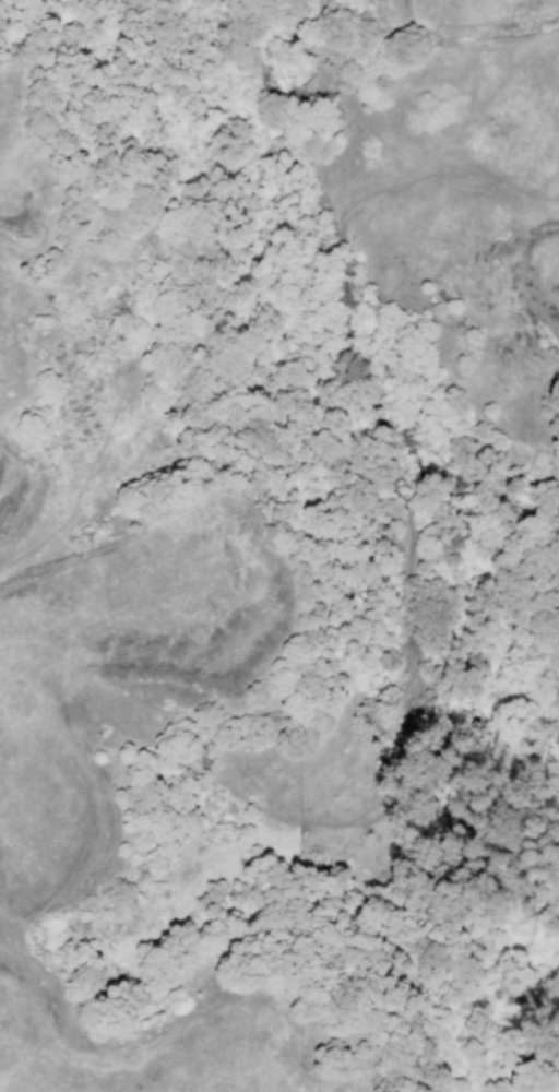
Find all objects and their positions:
road: (319, 32)
road: (284, 100)
road: (206, 112)
road: (135, 359)
road: (221, 1058)
road: (326, 1080)

